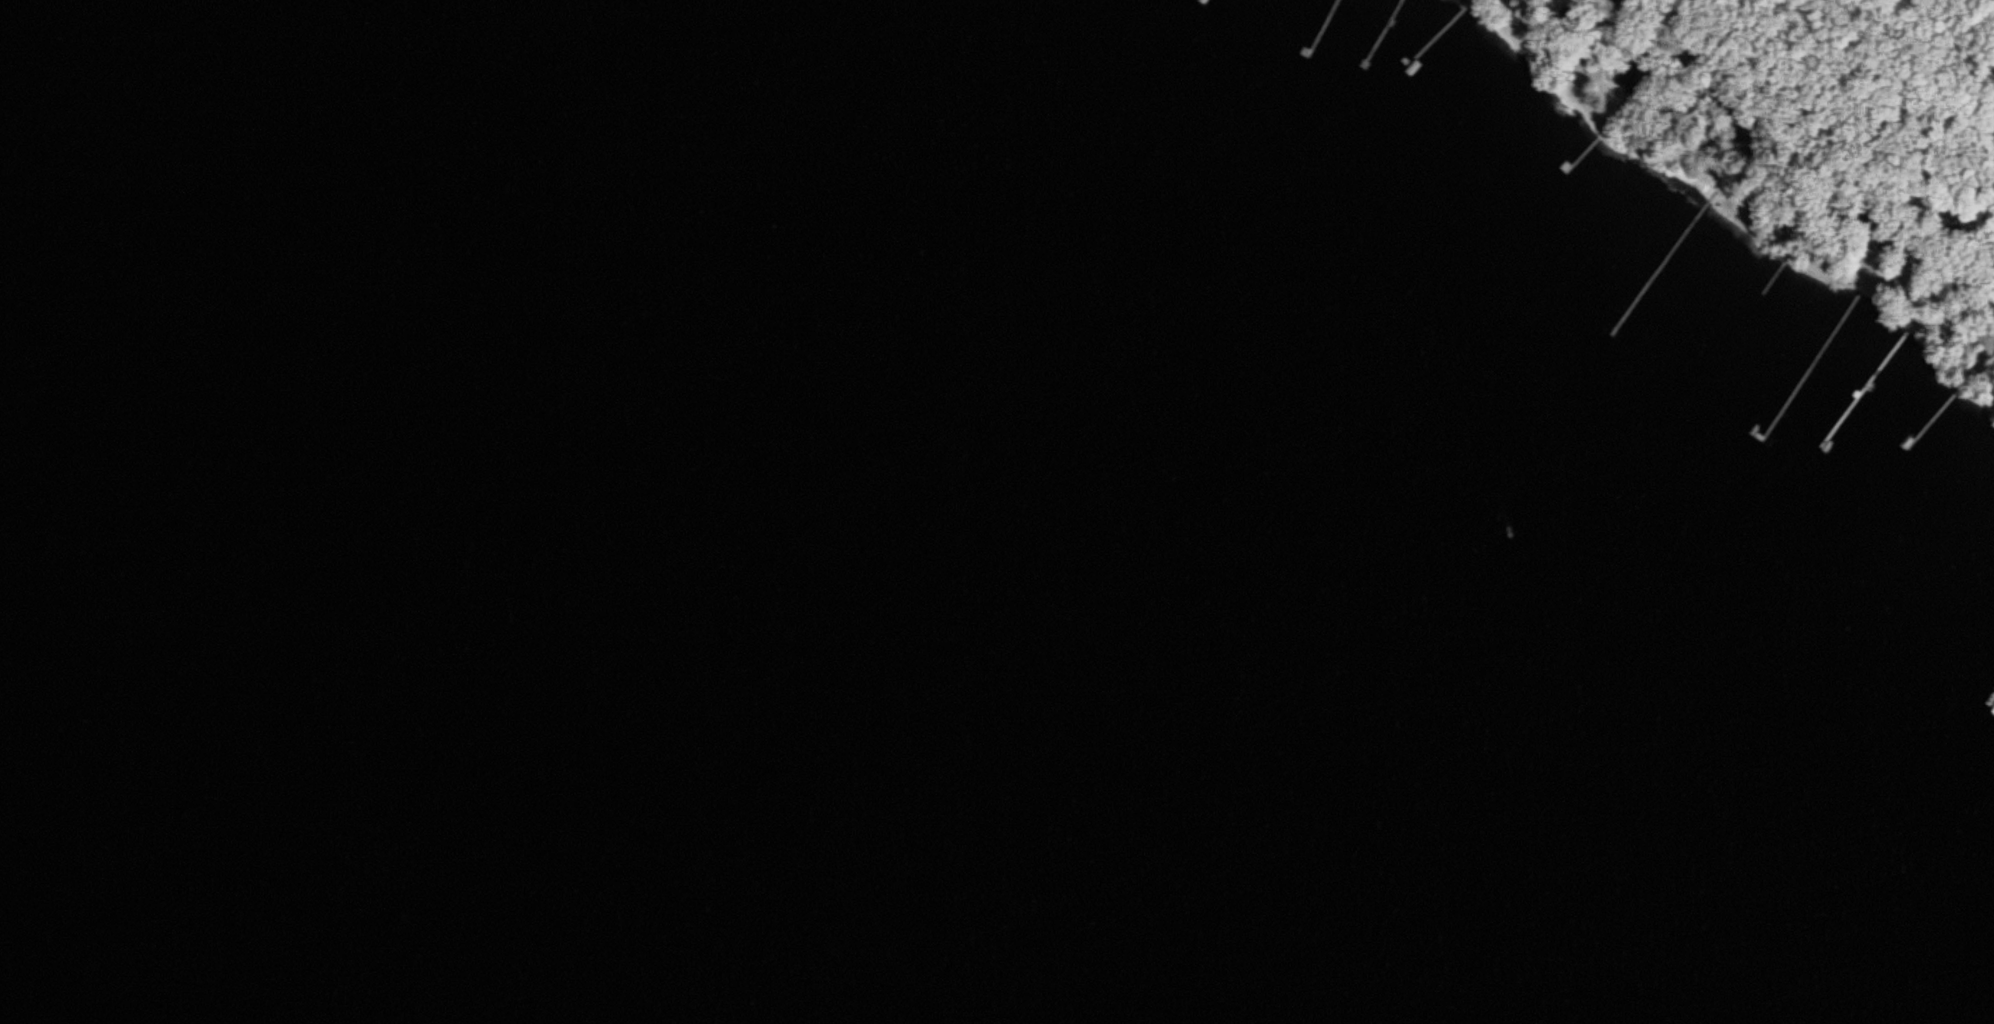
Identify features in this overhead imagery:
road: (1750, 15)
road: (1831, 113)
river: (54, 988)

